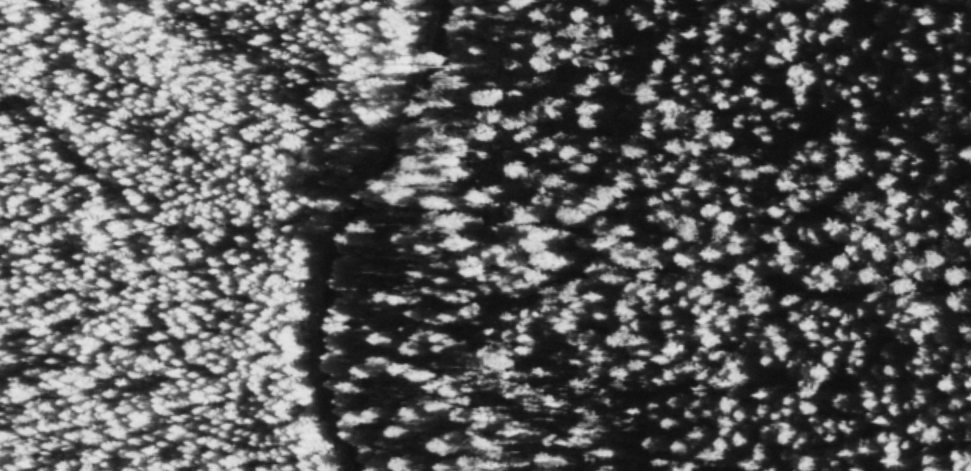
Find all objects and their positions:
road: (323, 231)

